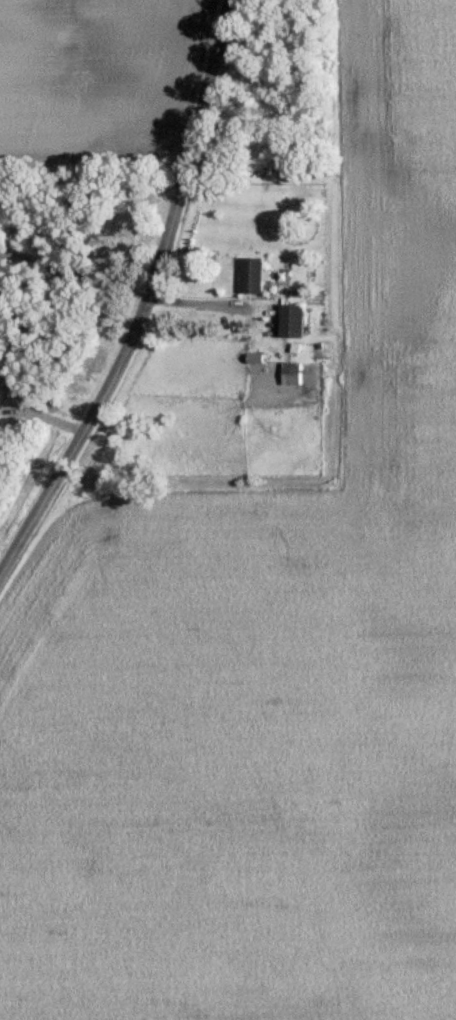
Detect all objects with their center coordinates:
building: (252, 274)
road: (147, 296)
road: (190, 302)
building: (289, 319)
building: (253, 356)
building: (289, 372)
building: (1, 393)

